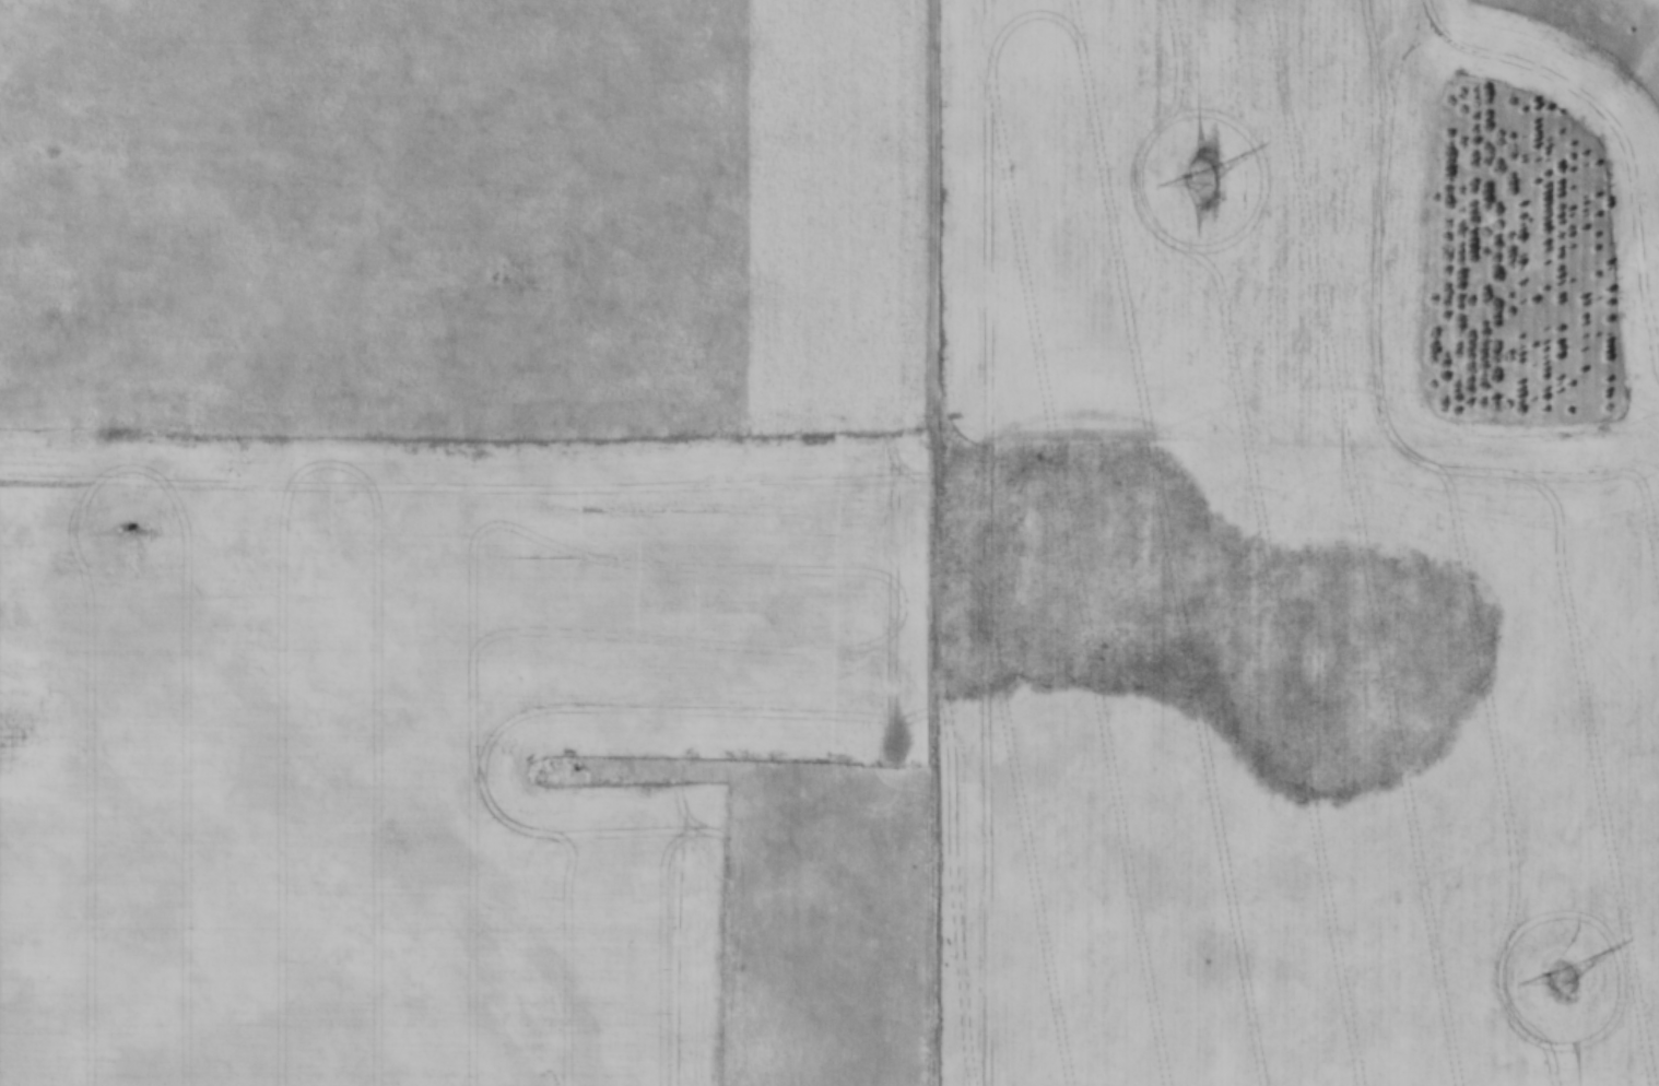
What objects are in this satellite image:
power tower: (1198, 184)
power tower: (1561, 980)

